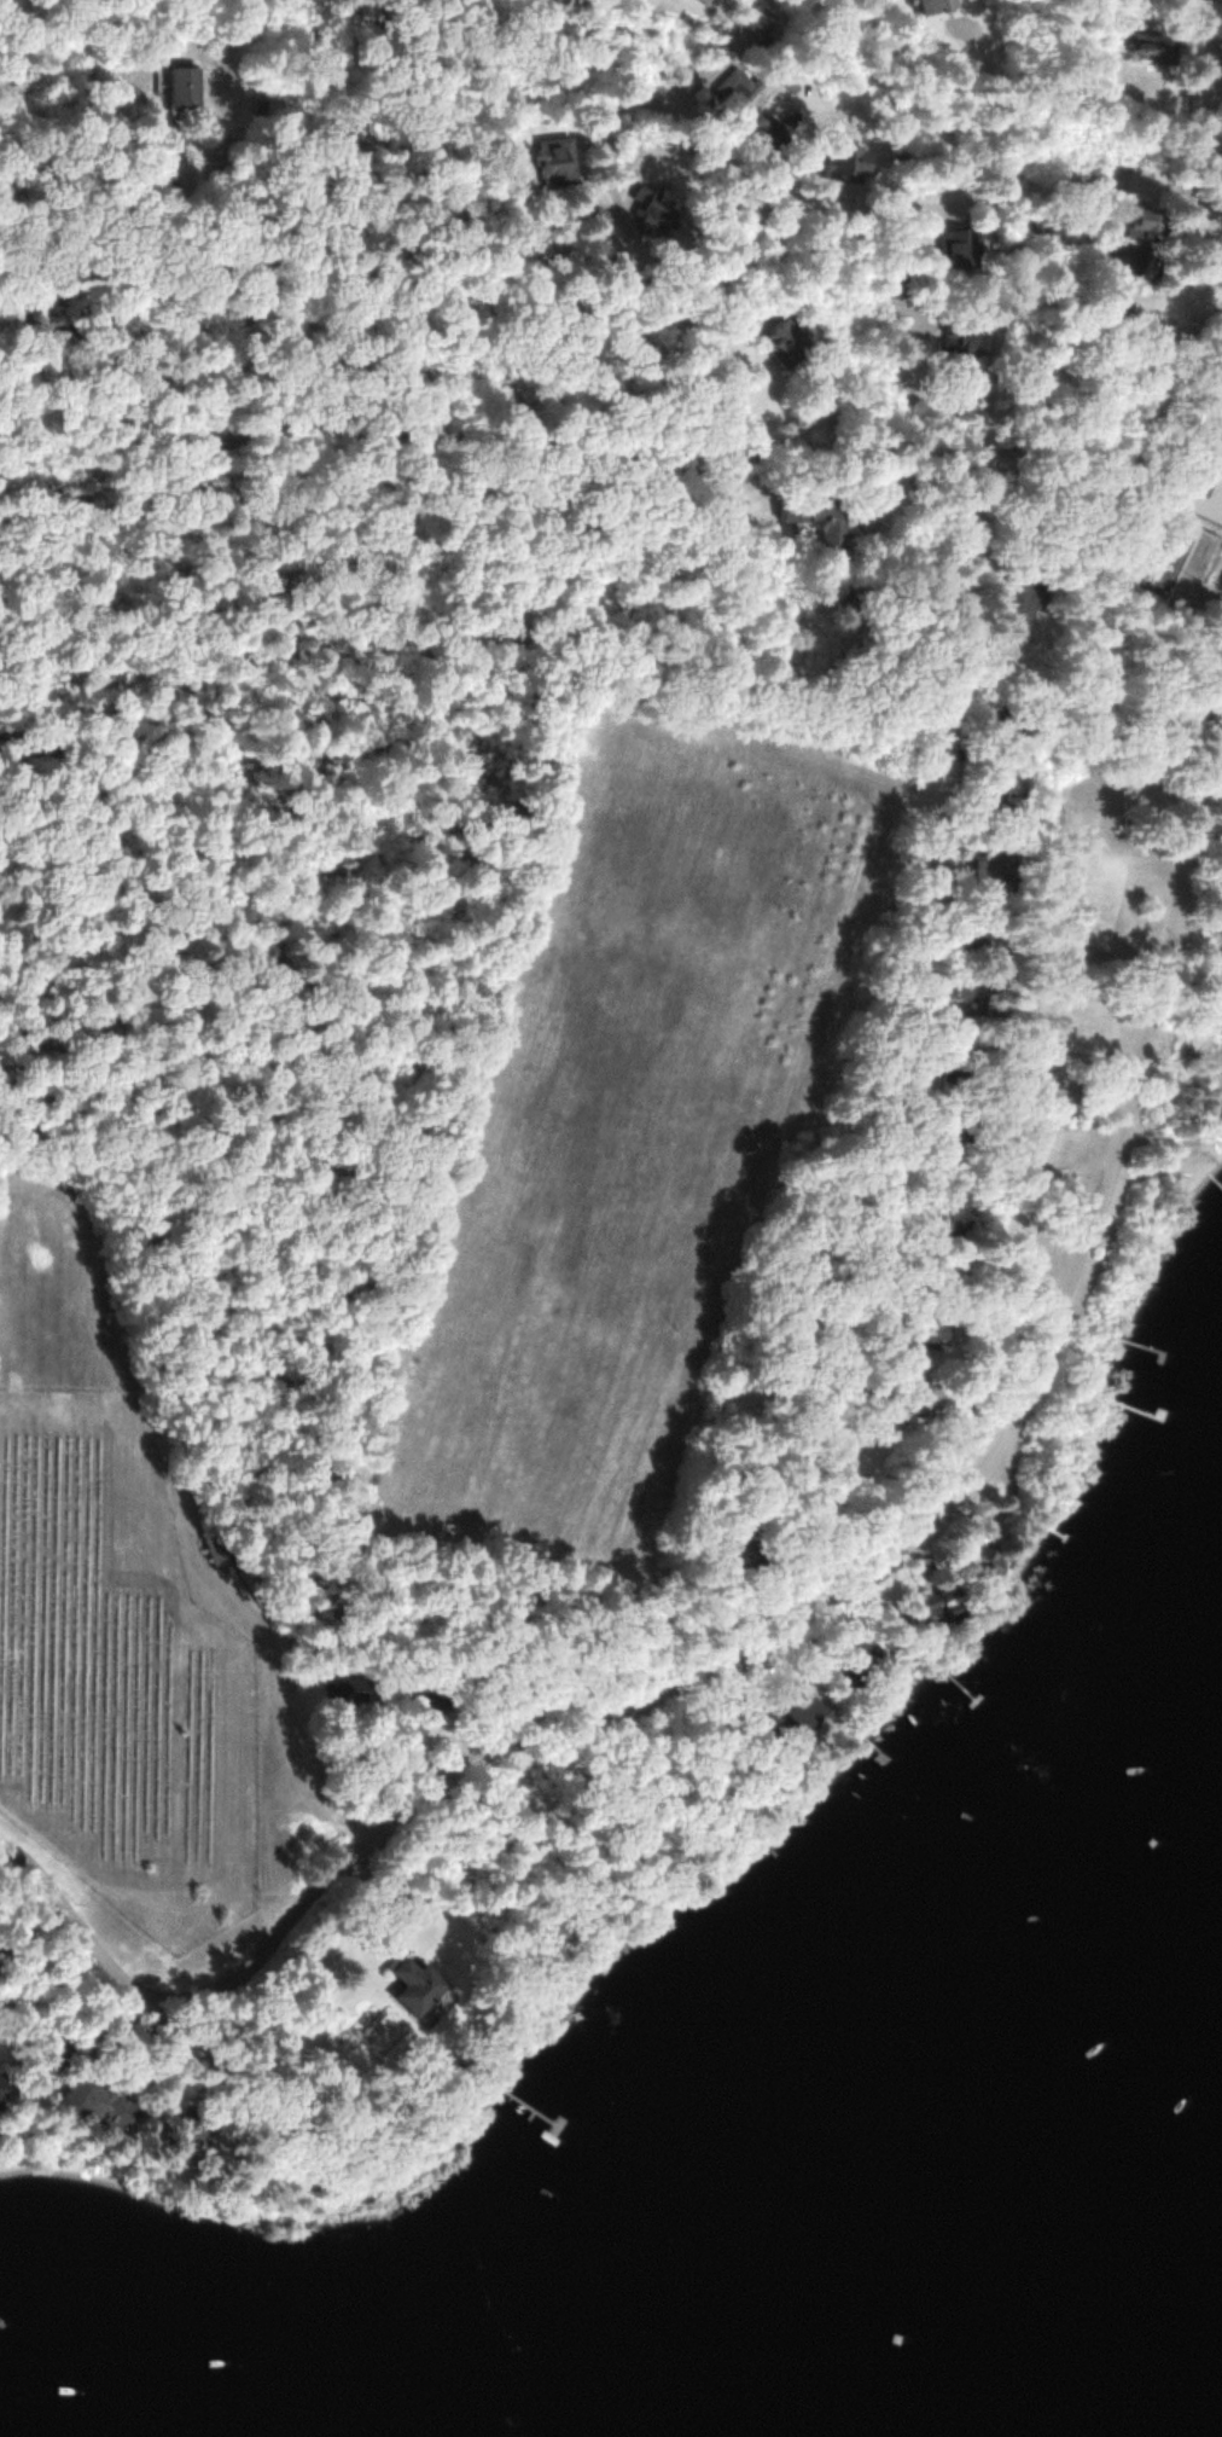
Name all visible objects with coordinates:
building: (942, 5)
building: (762, 16)
building: (1154, 42)
building: (186, 86)
building: (734, 93)
building: (557, 158)
building: (850, 162)
road: (1204, 164)
road: (872, 203)
building: (1058, 222)
building: (1152, 222)
building: (961, 248)
building: (1139, 260)
road: (731, 272)
road: (1003, 331)
building: (962, 335)
building: (793, 338)
road: (618, 448)
park: (1200, 464)
building: (822, 521)
park: (1166, 559)
building: (1026, 588)
building: (1007, 794)
road: (949, 868)
building: (1000, 869)
building: (1218, 938)
building: (984, 991)
building: (973, 1063)
building: (956, 1136)
building: (929, 1330)
building: (920, 1393)
building: (226, 1547)
road: (840, 1588)
building: (932, 1603)
building: (881, 1656)
building: (353, 1685)
building: (418, 1984)
building: (100, 2102)

